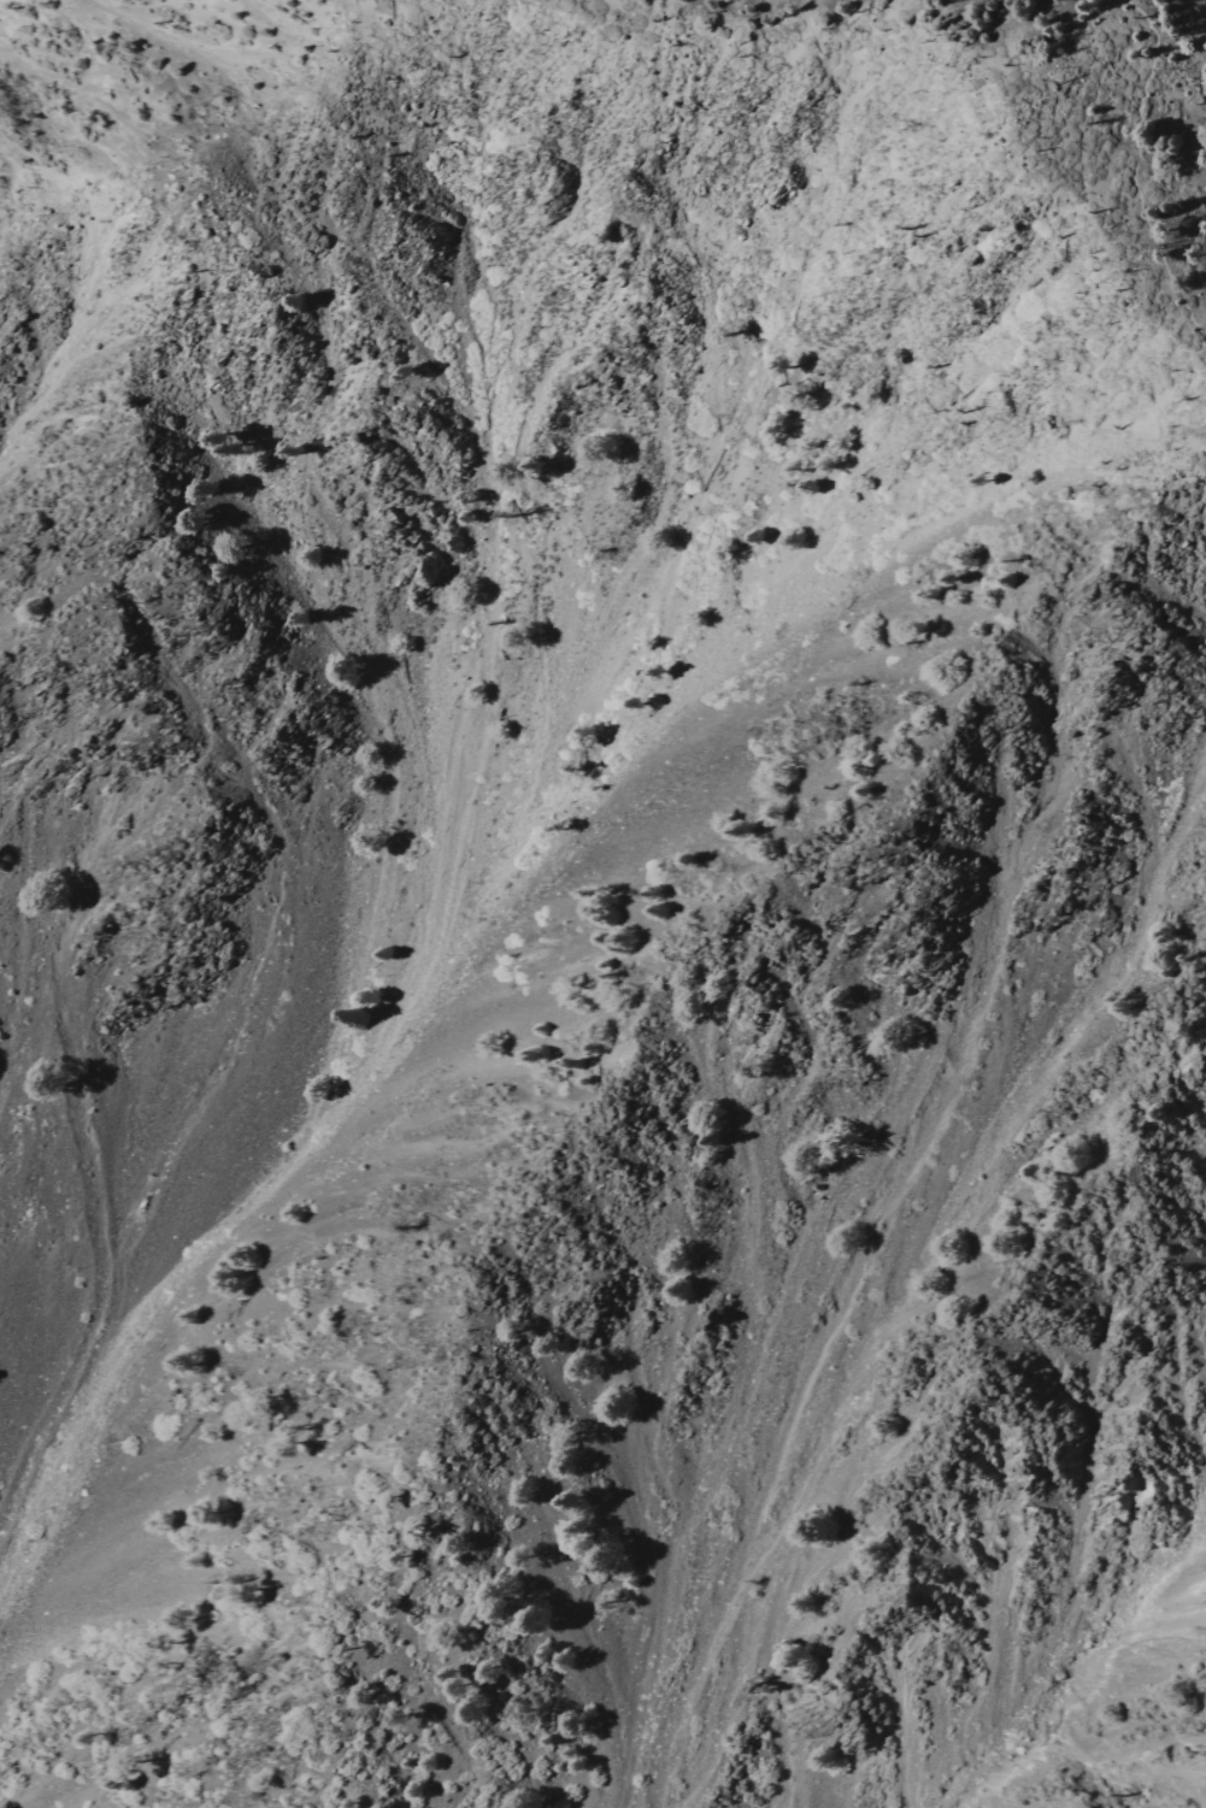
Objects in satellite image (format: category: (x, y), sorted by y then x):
road: (1135, 166)

